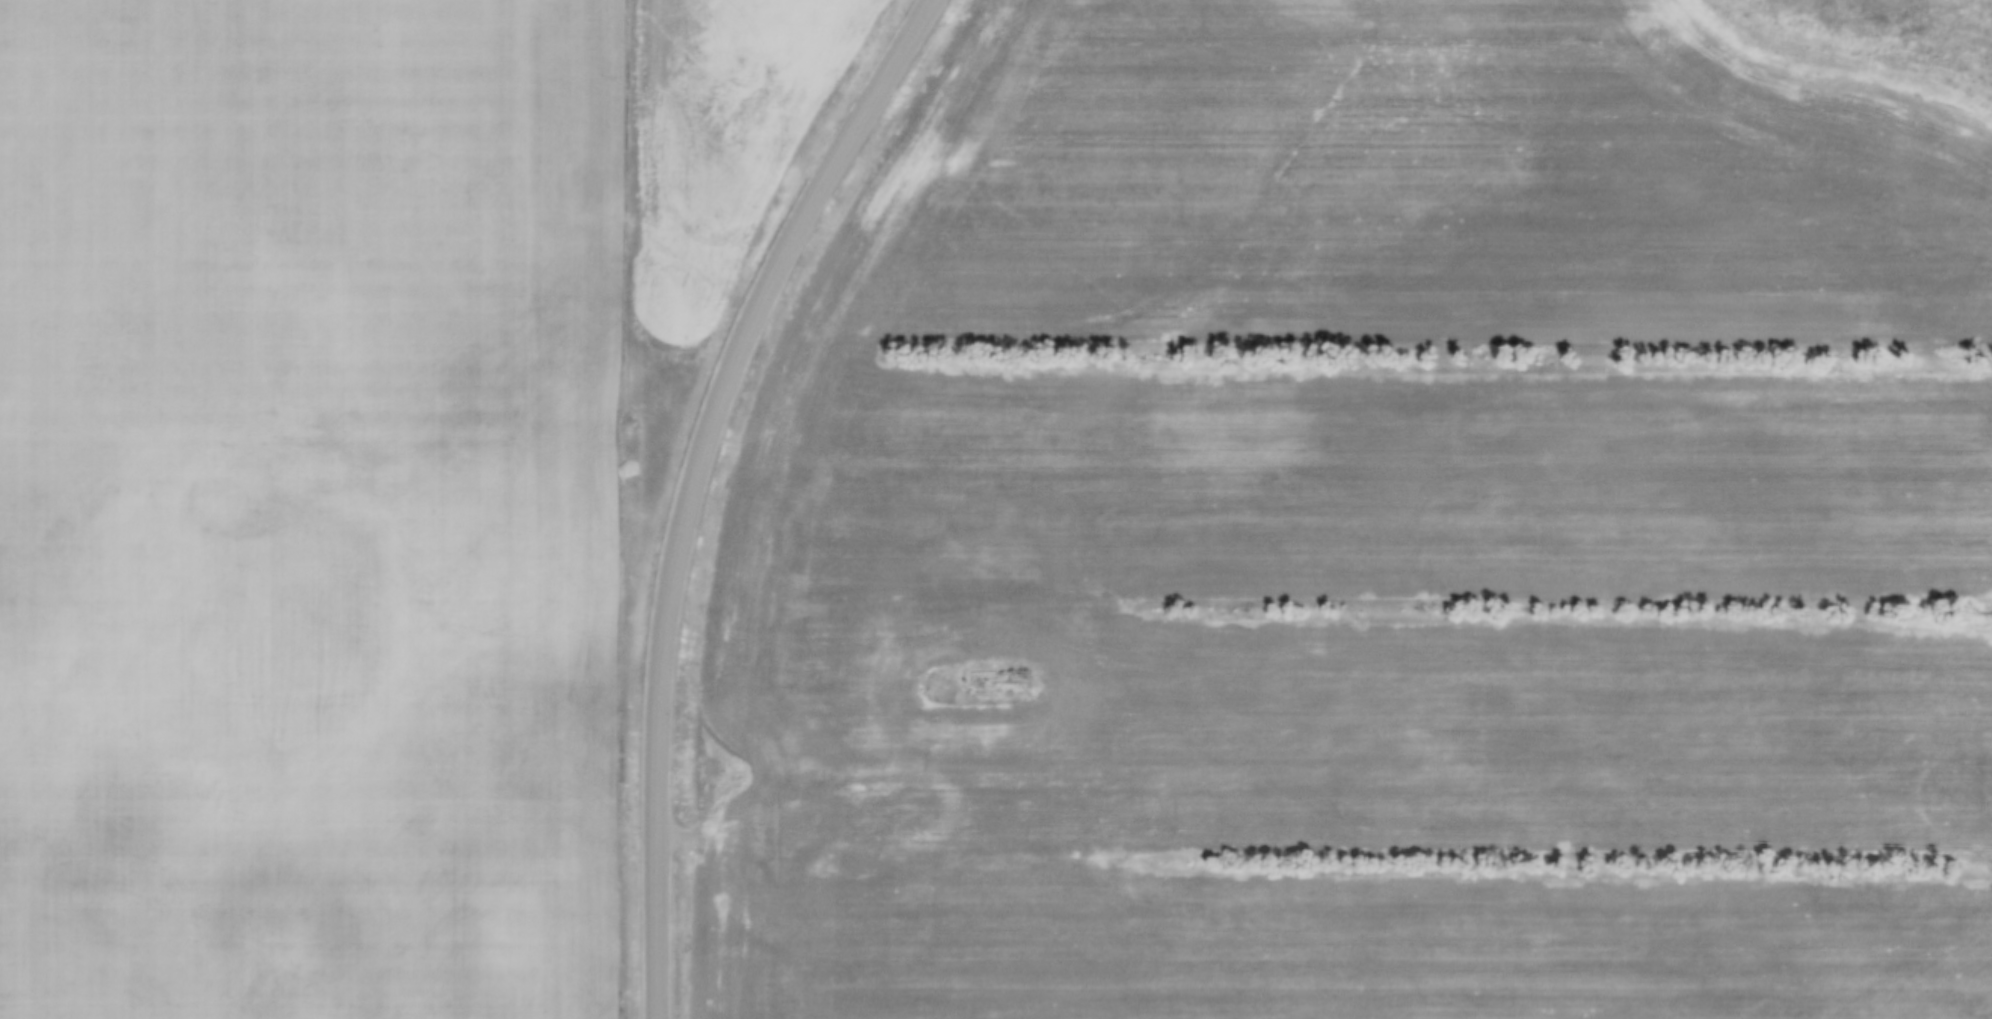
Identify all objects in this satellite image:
road: (690, 481)
road: (825, 803)

